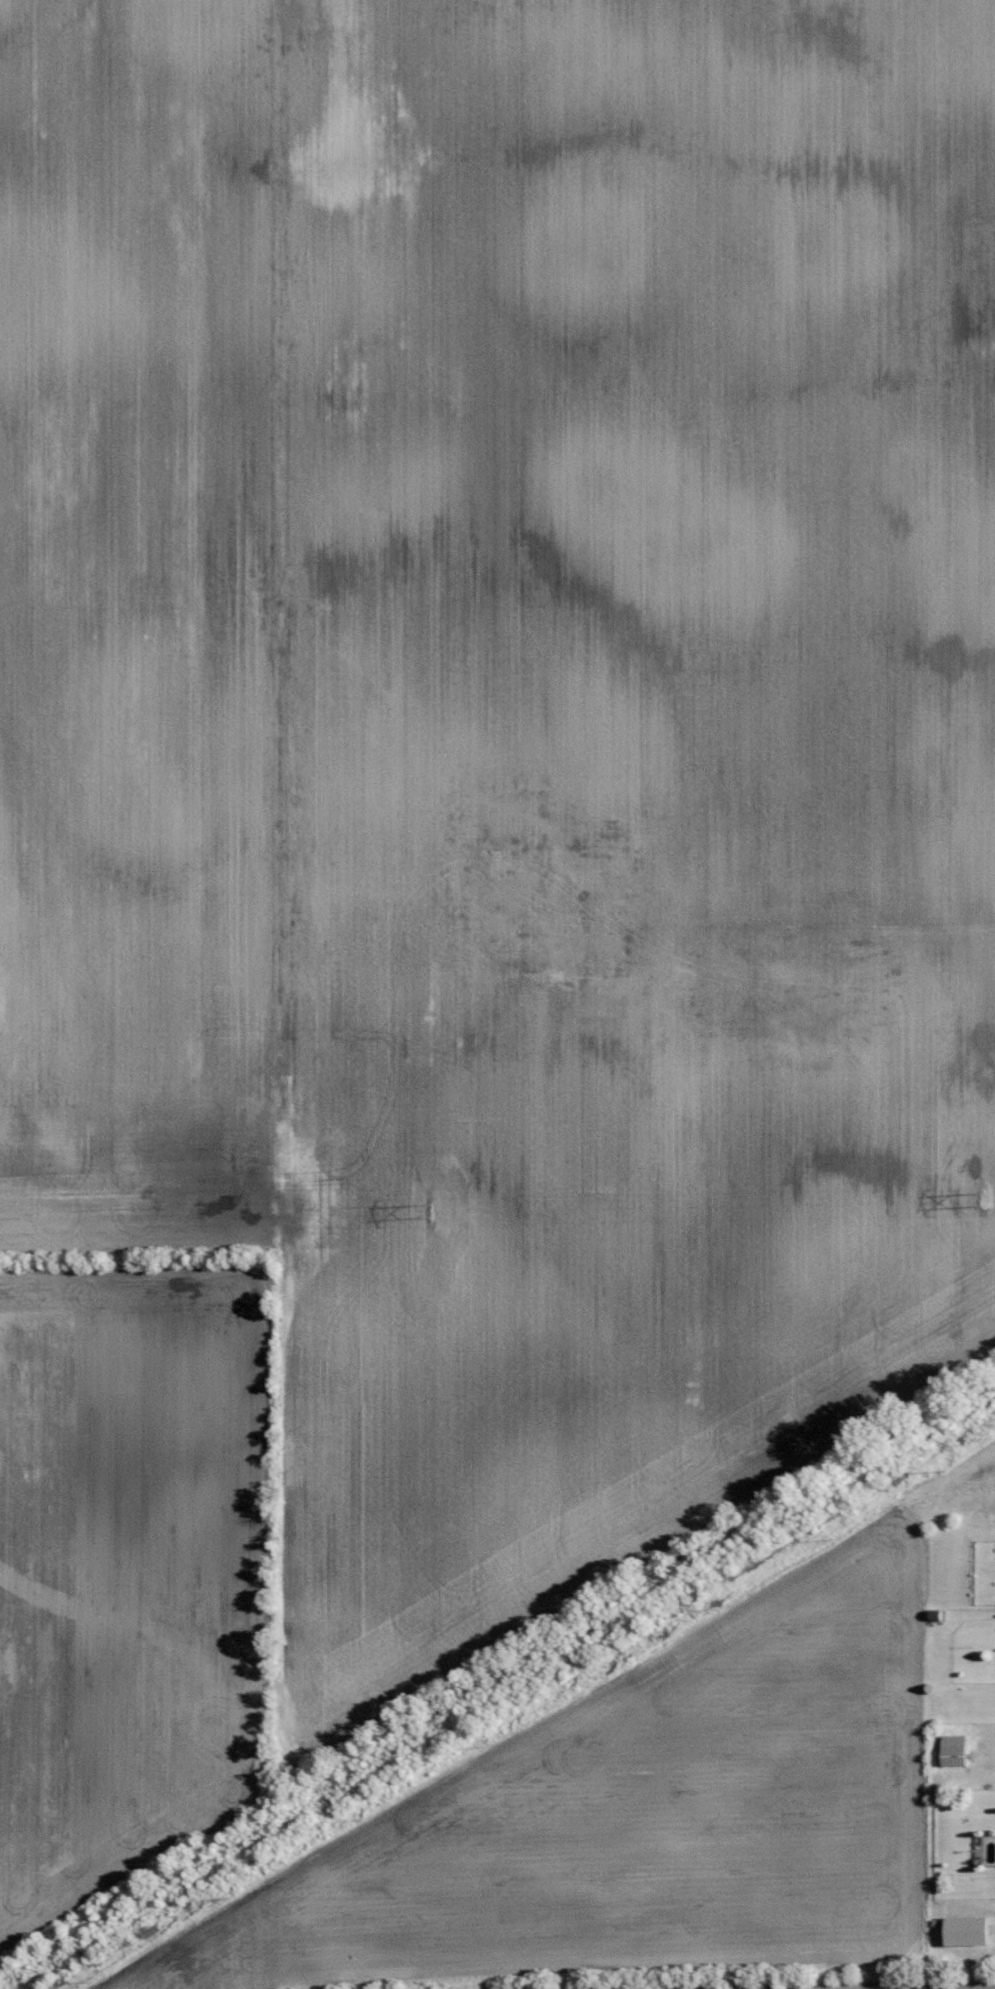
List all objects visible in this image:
power tower: (984, 1200)
power tower: (430, 1212)
railway: (501, 1693)
building: (955, 1751)
building: (969, 1932)

